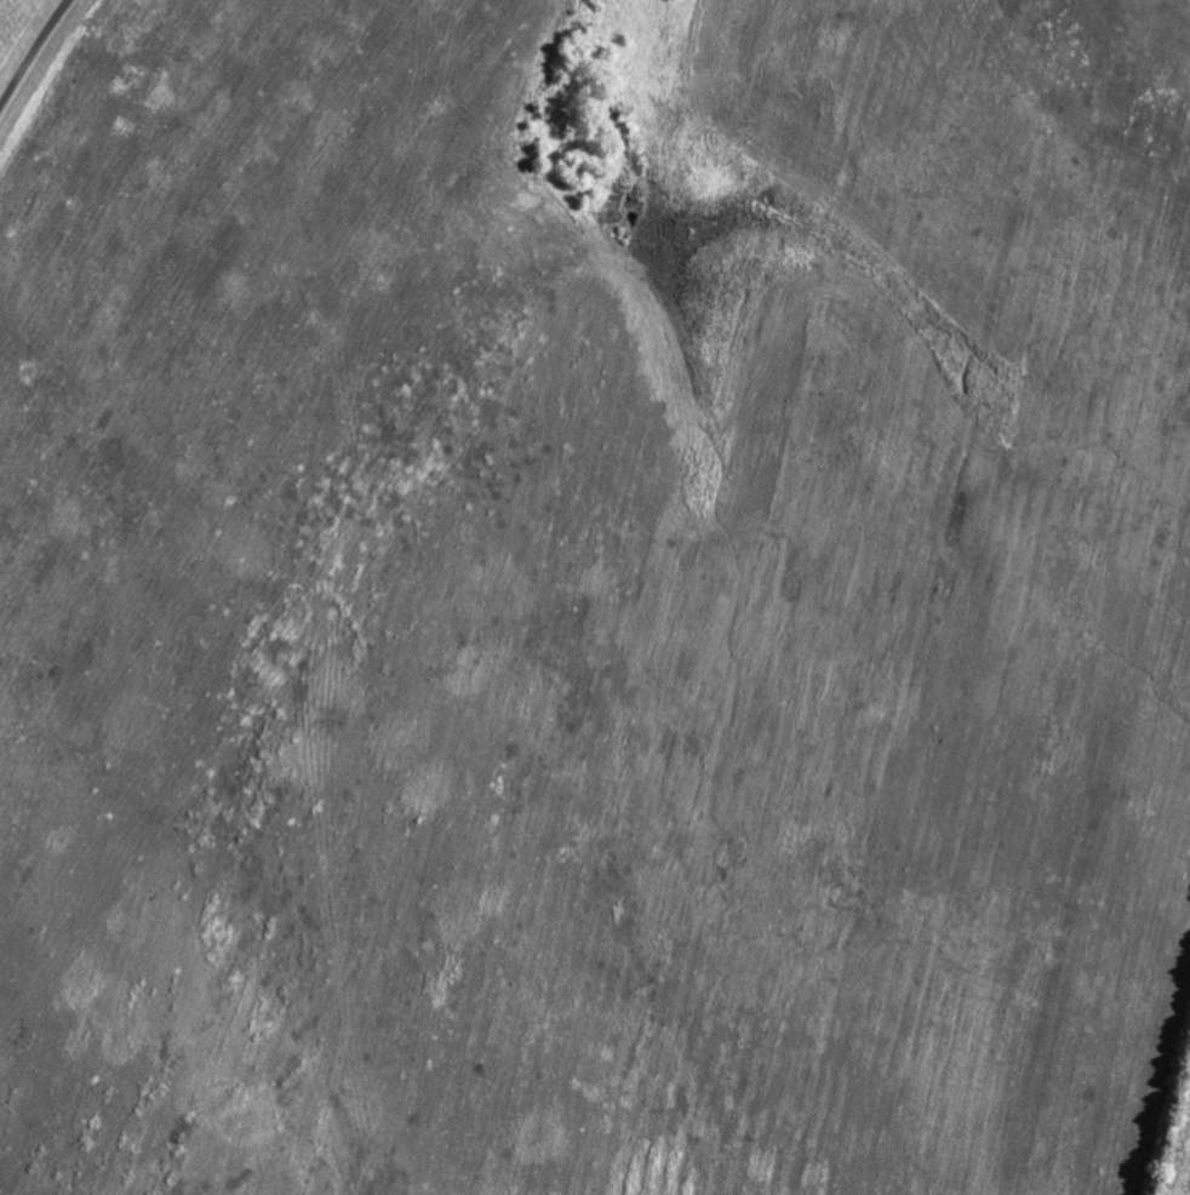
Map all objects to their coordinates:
road: (1, 4)

